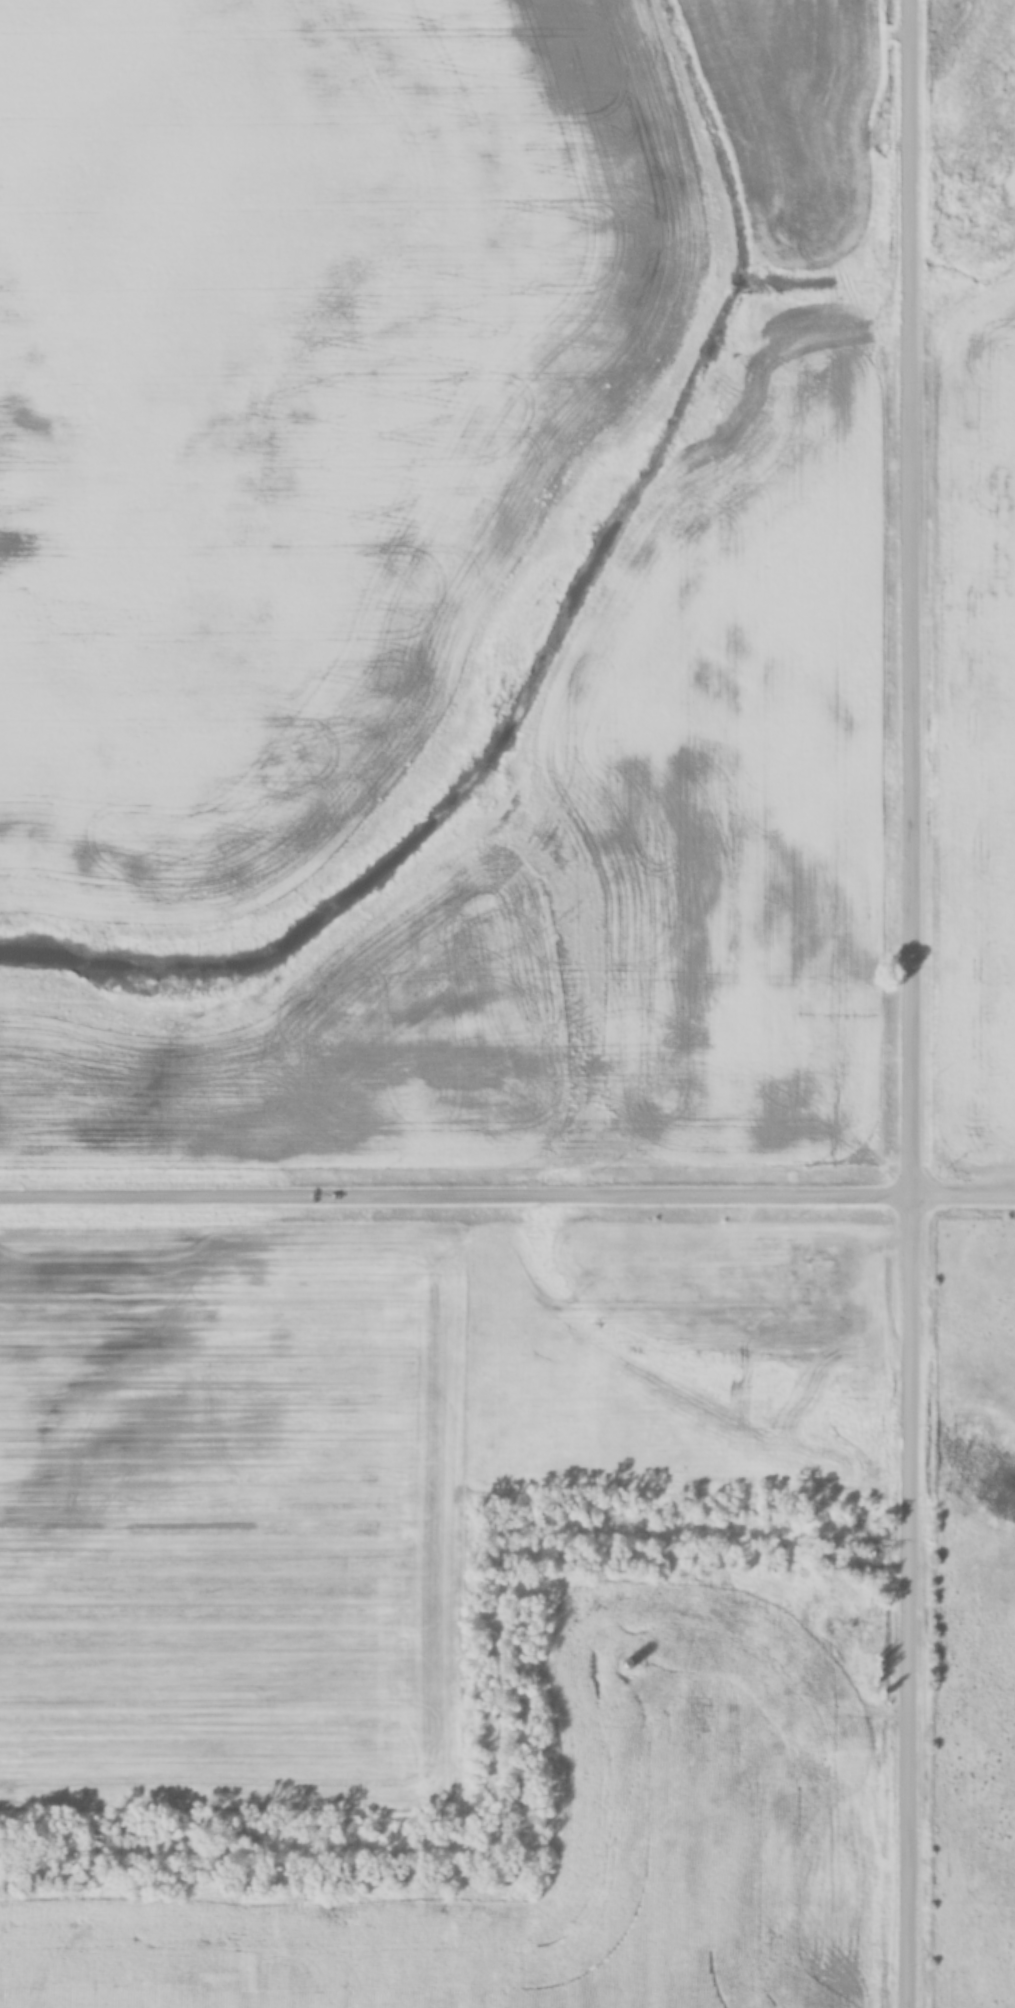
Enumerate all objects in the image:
road: (917, 1004)
road: (507, 1197)
building: (631, 1663)

